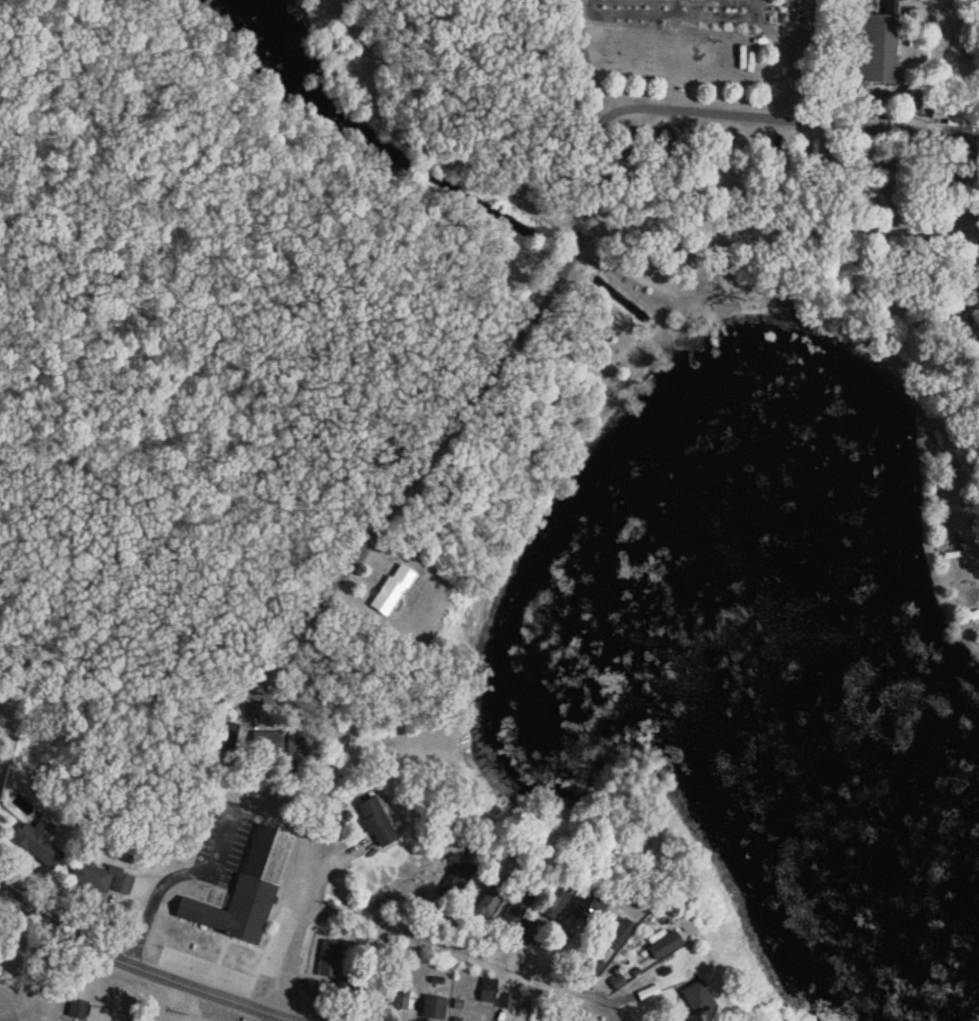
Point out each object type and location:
building: (871, 49)
road: (813, 110)
building: (862, 296)
building: (975, 311)
building: (388, 588)
road: (352, 672)
road: (122, 689)
building: (373, 821)
building: (36, 843)
road: (305, 874)
road: (168, 877)
building: (455, 877)
building: (99, 878)
building: (244, 889)
building: (489, 895)
building: (551, 902)
building: (586, 903)
building: (512, 914)
building: (529, 931)
building: (615, 932)
road: (470, 937)
building: (661, 945)
building: (327, 956)
road: (141, 969)
building: (615, 980)
building: (487, 990)
building: (694, 997)
building: (432, 1007)
building: (75, 1009)

